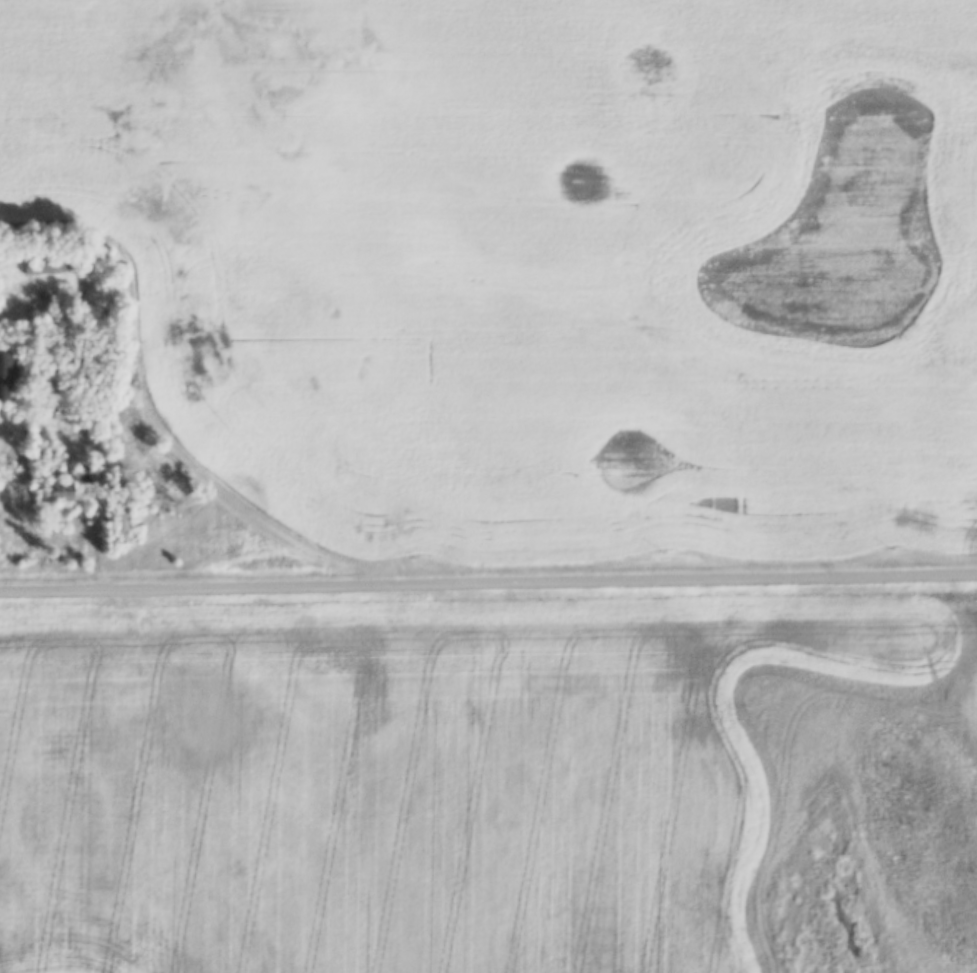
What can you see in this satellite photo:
building: (48, 268)
building: (5, 377)
building: (62, 490)
building: (122, 522)
road: (98, 530)
road: (488, 585)

